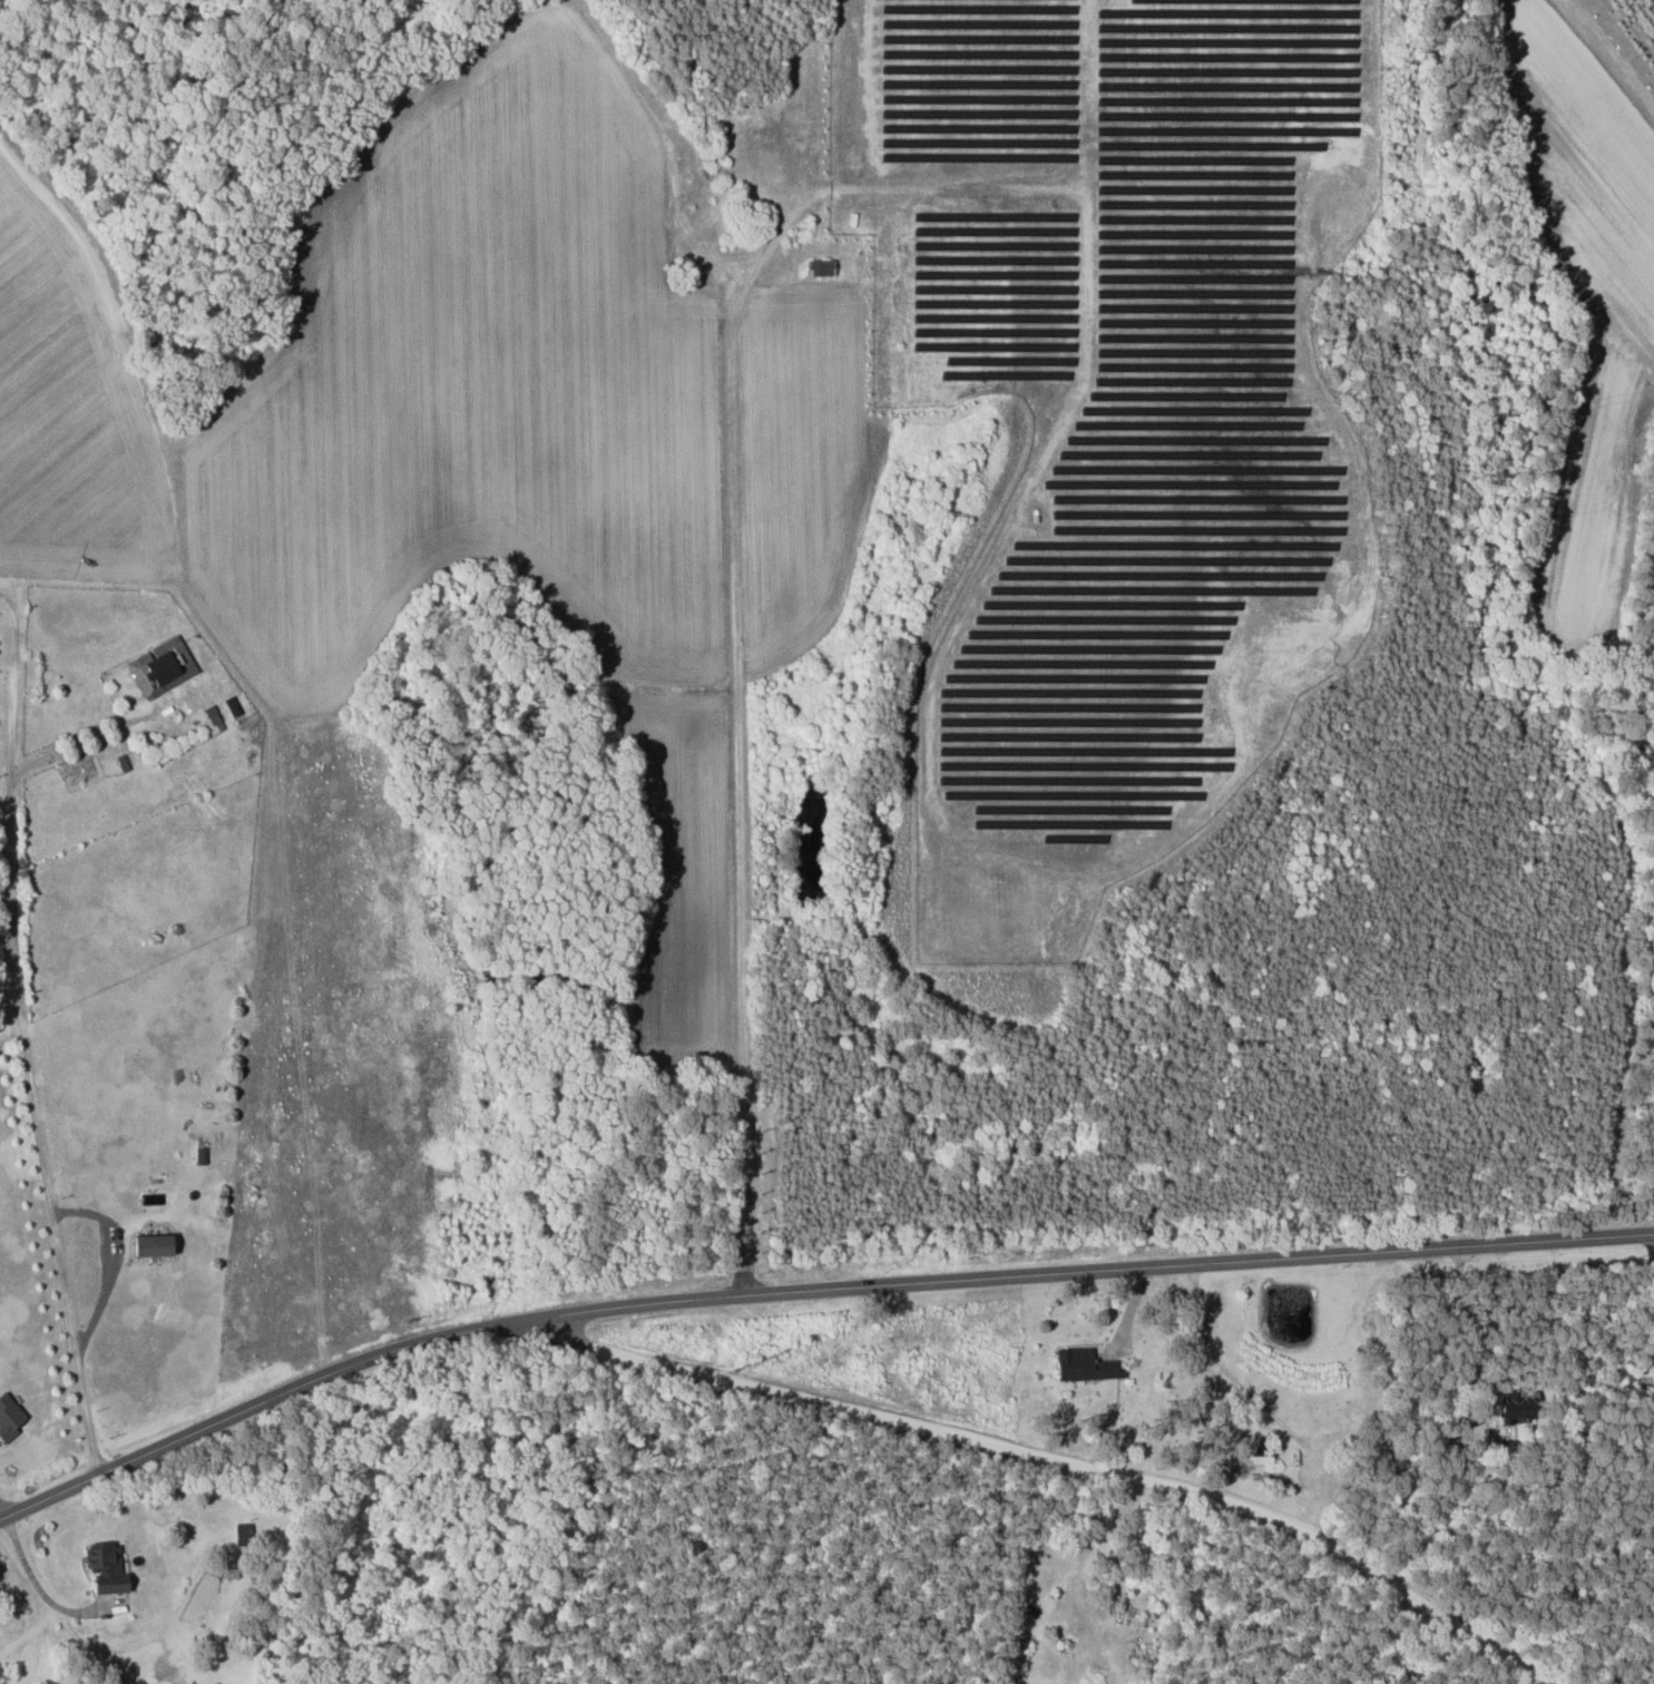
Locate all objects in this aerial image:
building: (822, 266)
building: (163, 666)
road: (79, 742)
road: (20, 1039)
building: (155, 1197)
building: (155, 1244)
road: (1647, 1255)
road: (115, 1263)
road: (808, 1289)
road: (1469, 1339)
building: (1087, 1364)
road: (1266, 1409)
building: (9, 1417)
building: (1263, 1455)
road: (1049, 1462)
building: (107, 1567)
road: (46, 1594)

